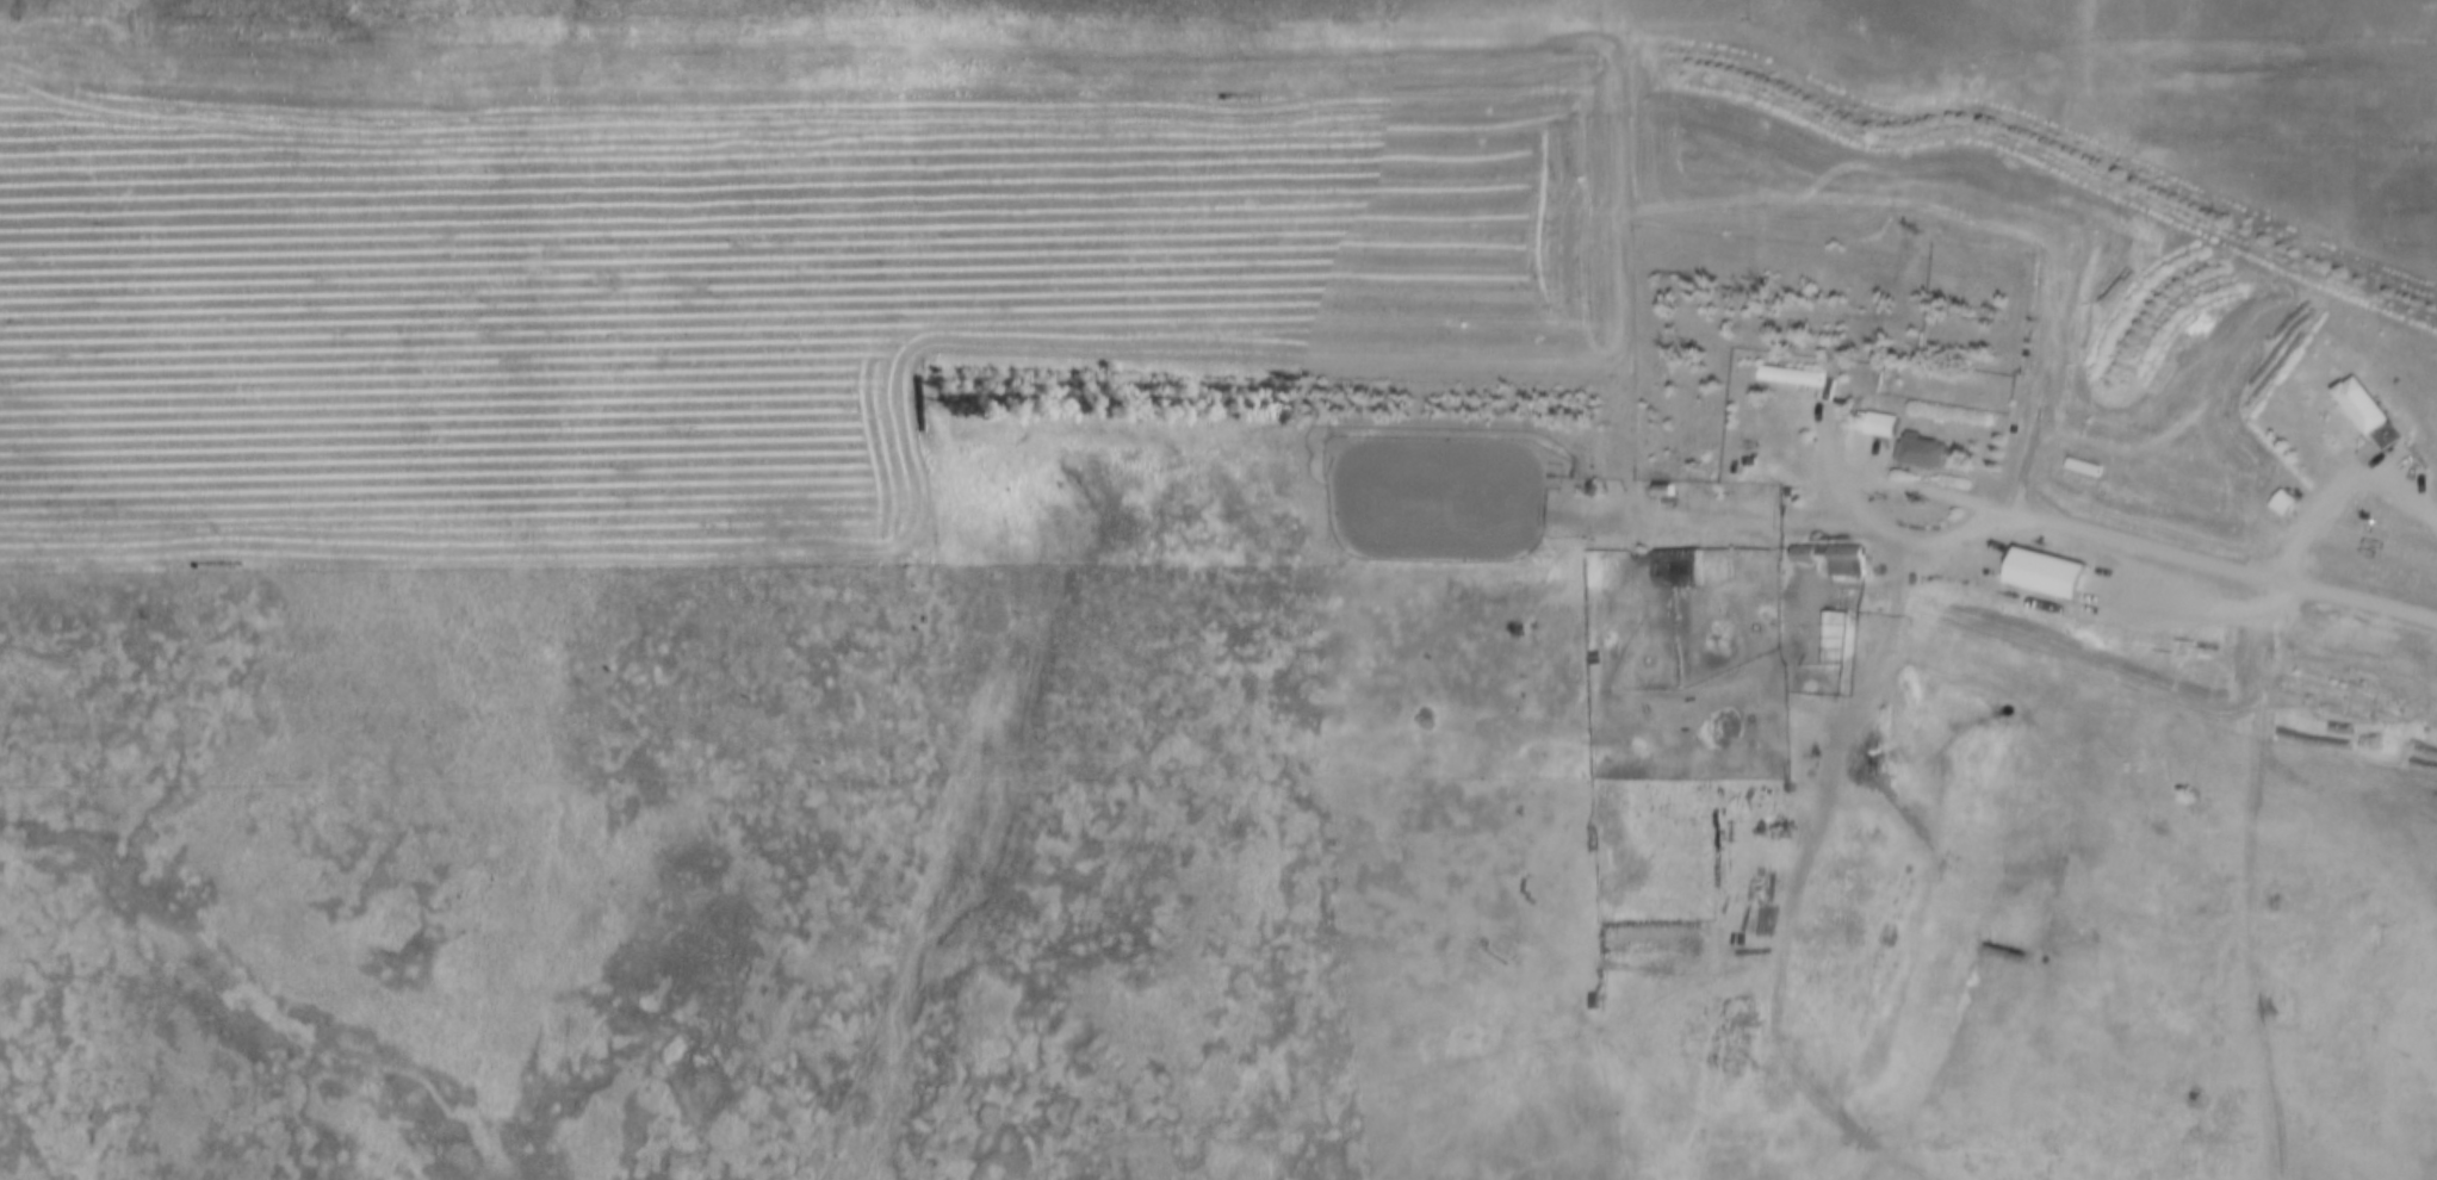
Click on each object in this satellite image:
building: (2022, 361)
building: (1782, 378)
building: (2363, 411)
building: (1874, 427)
building: (1912, 453)
building: (1657, 491)
building: (2275, 507)
road: (1854, 516)
building: (1797, 557)
building: (1840, 563)
building: (1667, 569)
road: (2212, 575)
building: (2039, 576)
building: (1583, 663)
building: (1815, 684)
road: (2255, 884)

